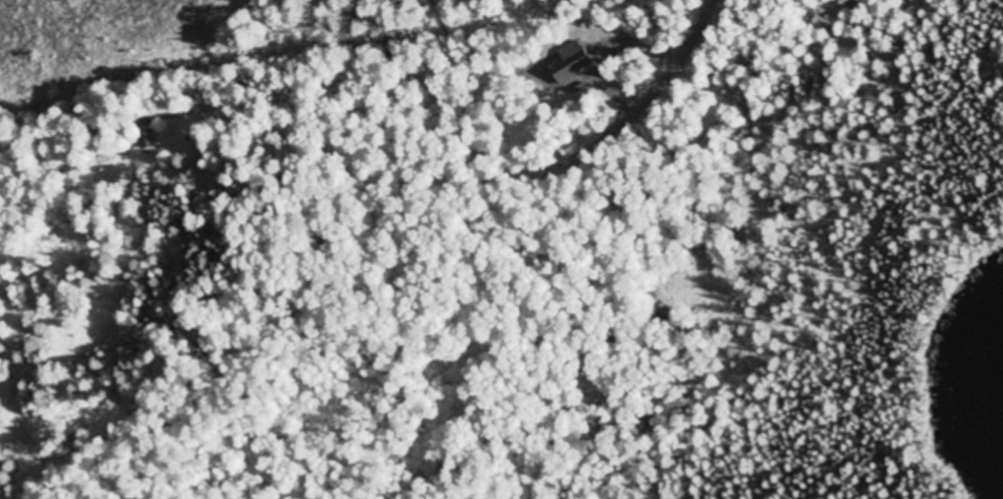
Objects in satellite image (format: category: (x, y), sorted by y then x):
road: (311, 83)

